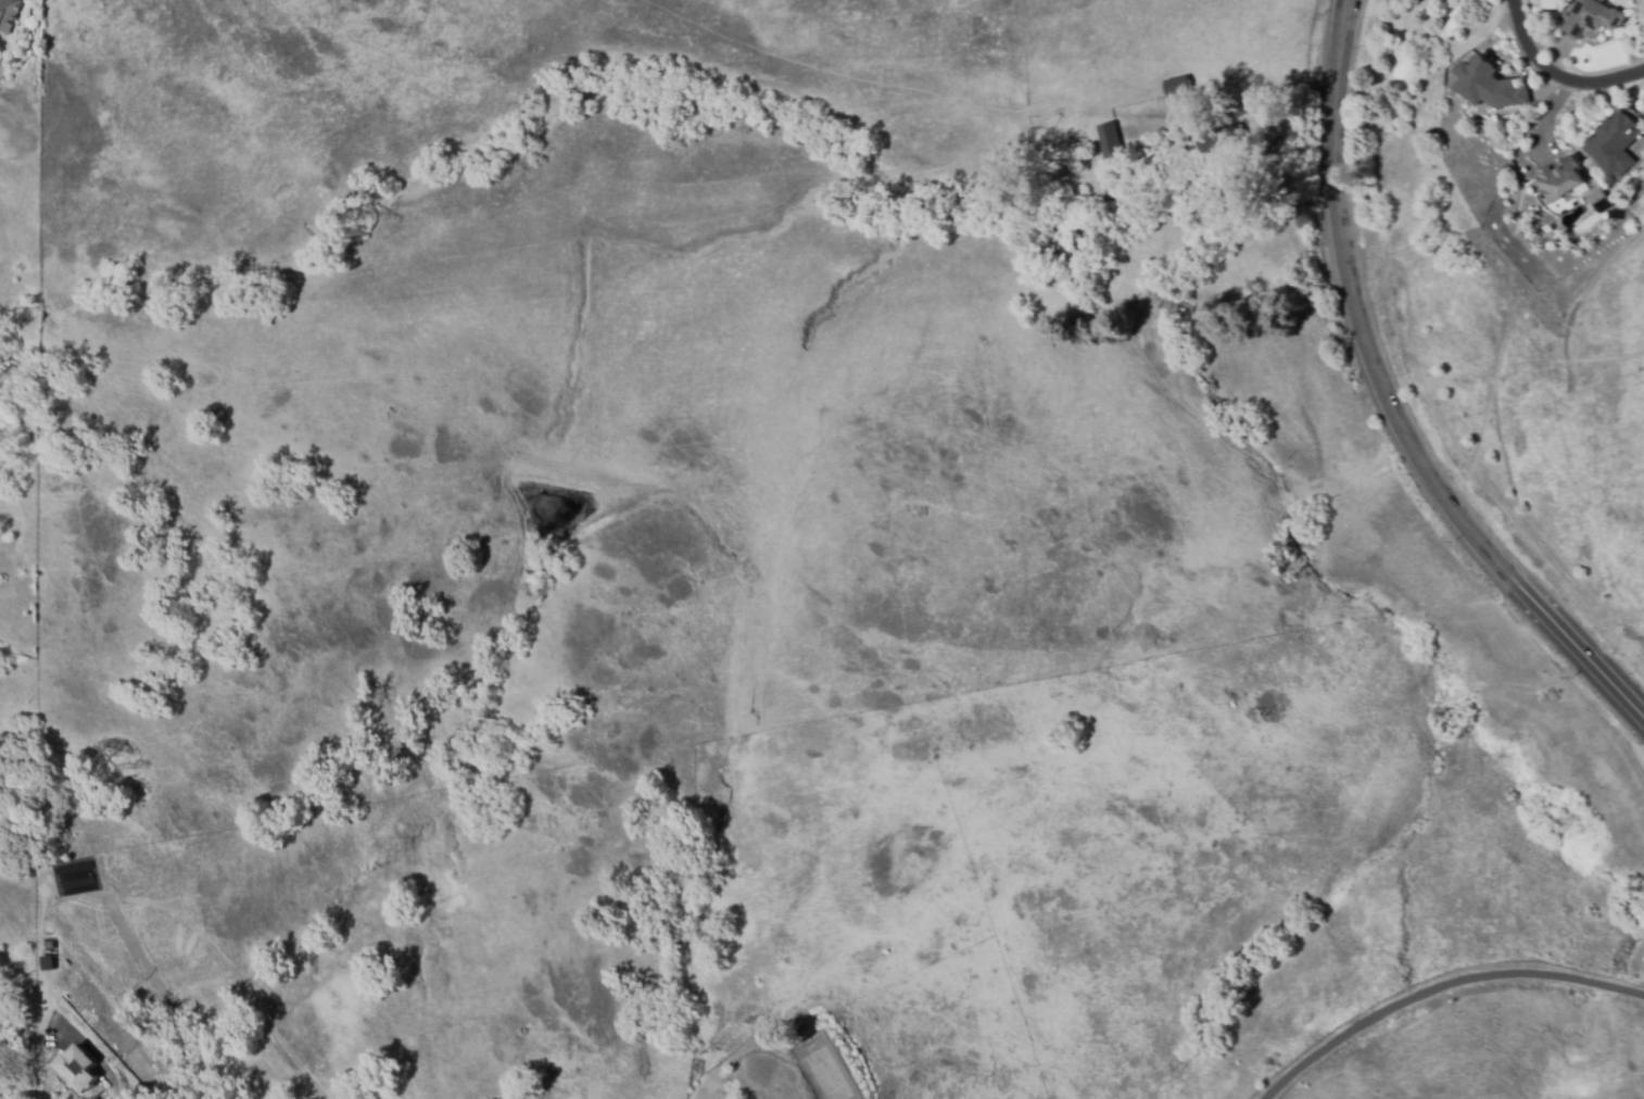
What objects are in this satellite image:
building: (9, 14)
building: (1593, 20)
road: (1555, 75)
building: (1487, 80)
building: (1178, 86)
building: (1223, 139)
building: (1111, 140)
building: (1613, 140)
building: (1185, 141)
road: (1640, 149)
building: (1154, 160)
building: (1559, 179)
building: (1596, 200)
building: (1063, 243)
park: (21, 362)
road: (1384, 402)
building: (921, 511)
road: (1441, 988)
building: (80, 1069)
road: (116, 1094)

